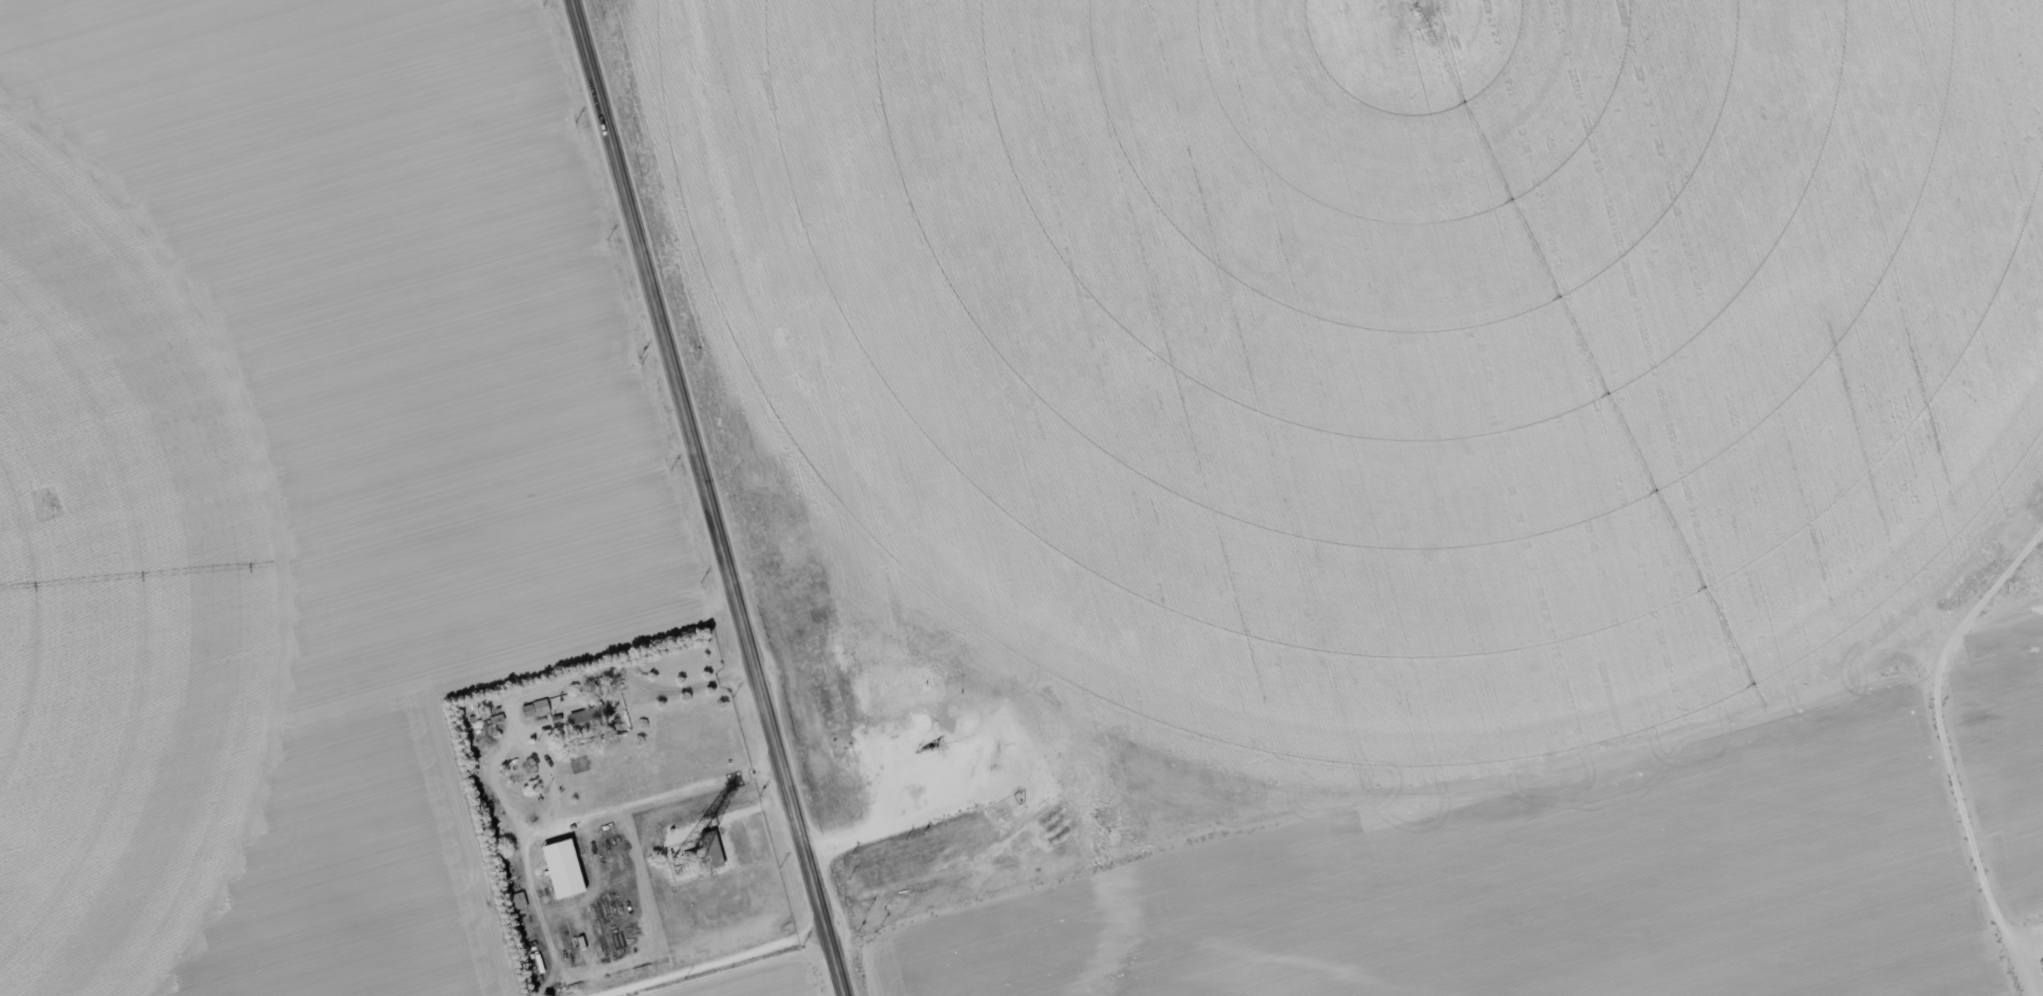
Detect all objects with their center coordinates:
road: (705, 498)
road: (1471, 782)
building: (708, 852)
building: (559, 872)
building: (516, 904)
road: (729, 969)

